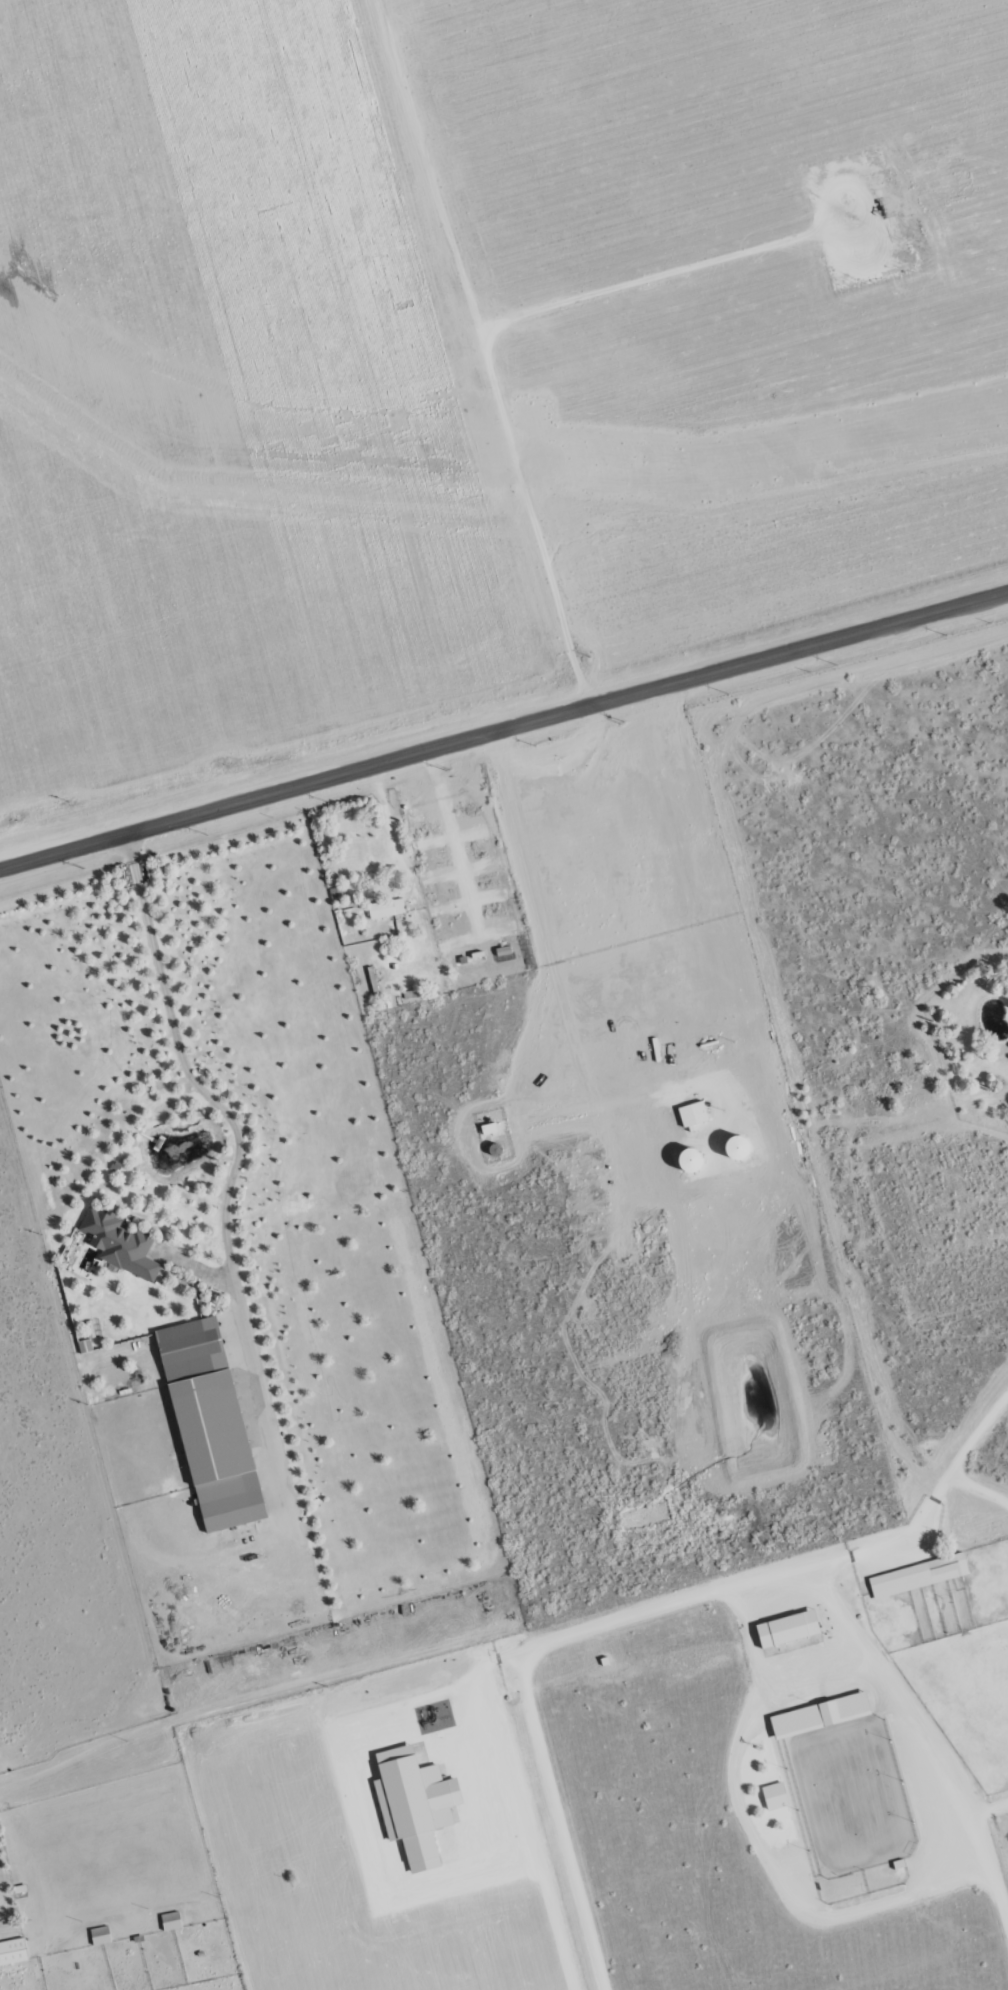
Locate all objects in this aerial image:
crop: (471, 382)
road: (506, 430)
road: (503, 732)
building: (387, 910)
road: (191, 1078)
building: (121, 1246)
building: (212, 1425)
road: (961, 1460)
building: (920, 1577)
road: (636, 1613)
building: (789, 1630)
building: (776, 1797)
building: (416, 1806)
road: (522, 1811)
road: (992, 1815)
road: (992, 1873)
building: (172, 1922)
building: (102, 1937)
building: (13, 1953)

